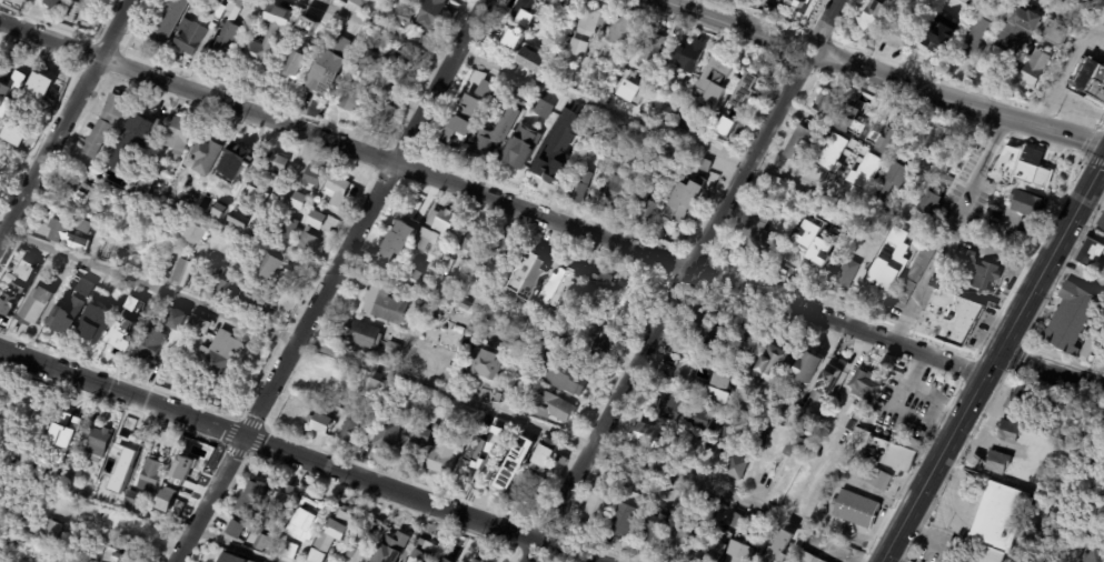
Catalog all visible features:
building: (222, 0)
building: (419, 0)
building: (1071, 0)
building: (415, 1)
building: (56, 2)
building: (907, 2)
building: (967, 2)
building: (358, 3)
building: (537, 4)
building: (795, 4)
building: (991, 11)
road: (1067, 12)
building: (189, 14)
building: (430, 14)
building: (213, 17)
building: (400, 17)
building: (524, 17)
building: (871, 18)
road: (825, 19)
road: (733, 22)
building: (308, 26)
building: (586, 28)
building: (228, 29)
building: (620, 29)
building: (1015, 30)
building: (156, 31)
building: (897, 32)
building: (937, 32)
building: (1052, 33)
building: (188, 37)
building: (511, 38)
building: (975, 38)
building: (339, 46)
building: (649, 46)
building: (260, 47)
building: (389, 51)
road: (797, 51)
building: (689, 57)
building: (400, 58)
building: (527, 61)
road: (1072, 61)
building: (366, 62)
building: (291, 64)
building: (617, 68)
building: (1033, 69)
building: (324, 73)
building: (12, 77)
building: (1088, 79)
building: (560, 80)
building: (42, 88)
building: (708, 89)
building: (630, 91)
building: (476, 97)
building: (350, 98)
building: (516, 98)
building: (498, 100)
road: (961, 100)
building: (537, 101)
building: (737, 104)
road: (1057, 104)
building: (822, 107)
building: (541, 108)
building: (380, 113)
road: (64, 118)
building: (105, 124)
building: (143, 126)
building: (501, 131)
road: (672, 133)
building: (889, 134)
building: (176, 137)
building: (561, 138)
building: (450, 140)
building: (797, 144)
building: (478, 148)
building: (119, 149)
building: (510, 154)
building: (680, 154)
building: (203, 157)
building: (232, 161)
building: (674, 161)
building: (277, 163)
building: (600, 163)
building: (702, 165)
building: (1023, 168)
building: (538, 169)
building: (310, 178)
building: (668, 179)
building: (888, 182)
building: (142, 184)
building: (577, 187)
building: (335, 190)
building: (258, 191)
building: (615, 191)
building: (73, 195)
road: (491, 198)
building: (683, 200)
building: (297, 202)
building: (221, 203)
building: (926, 203)
building: (1023, 203)
building: (644, 204)
building: (183, 208)
building: (243, 212)
building: (312, 220)
building: (1101, 222)
building: (401, 225)
building: (82, 227)
road: (948, 227)
building: (288, 230)
building: (435, 230)
building: (56, 231)
building: (193, 232)
building: (756, 235)
building: (307, 242)
building: (382, 242)
building: (813, 242)
building: (473, 243)
building: (912, 243)
building: (836, 244)
building: (908, 251)
building: (1090, 255)
building: (500, 257)
building: (806, 257)
building: (23, 262)
building: (894, 267)
building: (272, 270)
building: (916, 270)
building: (978, 271)
building: (180, 272)
building: (213, 272)
road: (1075, 273)
building: (233, 275)
building: (528, 277)
building: (843, 278)
building: (412, 279)
road: (334, 283)
building: (71, 284)
building: (84, 287)
building: (444, 289)
building: (601, 289)
building: (226, 290)
building: (558, 291)
building: (875, 291)
building: (629, 295)
building: (120, 299)
building: (256, 301)
building: (464, 304)
building: (382, 305)
building: (34, 307)
road: (668, 311)
building: (948, 317)
building: (3, 319)
building: (176, 319)
building: (59, 322)
building: (1072, 322)
building: (92, 324)
building: (694, 324)
building: (195, 327)
building: (470, 328)
building: (483, 330)
building: (119, 334)
building: (359, 334)
building: (623, 337)
building: (171, 341)
building: (712, 341)
building: (745, 341)
building: (149, 344)
building: (561, 345)
building: (600, 345)
building: (389, 349)
building: (684, 351)
building: (368, 354)
building: (219, 355)
building: (384, 357)
road: (992, 360)
building: (770, 362)
building: (484, 364)
road: (1051, 367)
road: (1097, 367)
building: (805, 369)
building: (449, 370)
building: (682, 371)
building: (564, 372)
building: (326, 378)
building: (826, 381)
building: (864, 385)
building: (375, 390)
building: (715, 390)
road: (442, 391)
building: (354, 392)
building: (311, 393)
building: (506, 395)
building: (1021, 397)
building: (339, 401)
building: (760, 404)
building: (547, 408)
building: (786, 410)
building: (684, 413)
road: (29, 419)
building: (747, 421)
building: (810, 422)
building: (72, 423)
building: (317, 424)
building: (434, 428)
building: (348, 430)
building: (465, 431)
building: (677, 433)
building: (1009, 433)
building: (726, 434)
building: (757, 434)
building: (385, 435)
building: (641, 436)
building: (99, 442)
building: (415, 443)
building: (793, 448)
building: (883, 448)
building: (485, 449)
building: (127, 453)
building: (541, 454)
road: (292, 455)
building: (440, 455)
building: (656, 458)
building: (559, 461)
building: (996, 462)
building: (187, 466)
building: (510, 466)
building: (734, 468)
building: (153, 474)
building: (76, 476)
building: (1021, 476)
building: (876, 478)
building: (520, 488)
building: (106, 489)
building: (137, 500)
building: (250, 500)
building: (677, 501)
building: (161, 503)
building: (281, 503)
building: (1027, 506)
building: (855, 510)
building: (591, 512)
building: (623, 520)
building: (302, 521)
building: (732, 521)
building: (995, 522)
building: (125, 526)
building: (52, 528)
building: (654, 528)
building: (232, 530)
building: (257, 533)
building: (329, 535)
building: (364, 539)
building: (684, 540)
building: (23, 542)
road: (237, 545)
building: (712, 546)
building: (390, 549)
building: (777, 549)
building: (285, 551)
building: (421, 552)
building: (738, 553)
building: (126, 555)
building: (460, 555)
building: (1091, 556)
building: (231, 558)
building: (478, 558)
building: (804, 558)
building: (445, 560)
building: (911, 560)
building: (217, 561)

